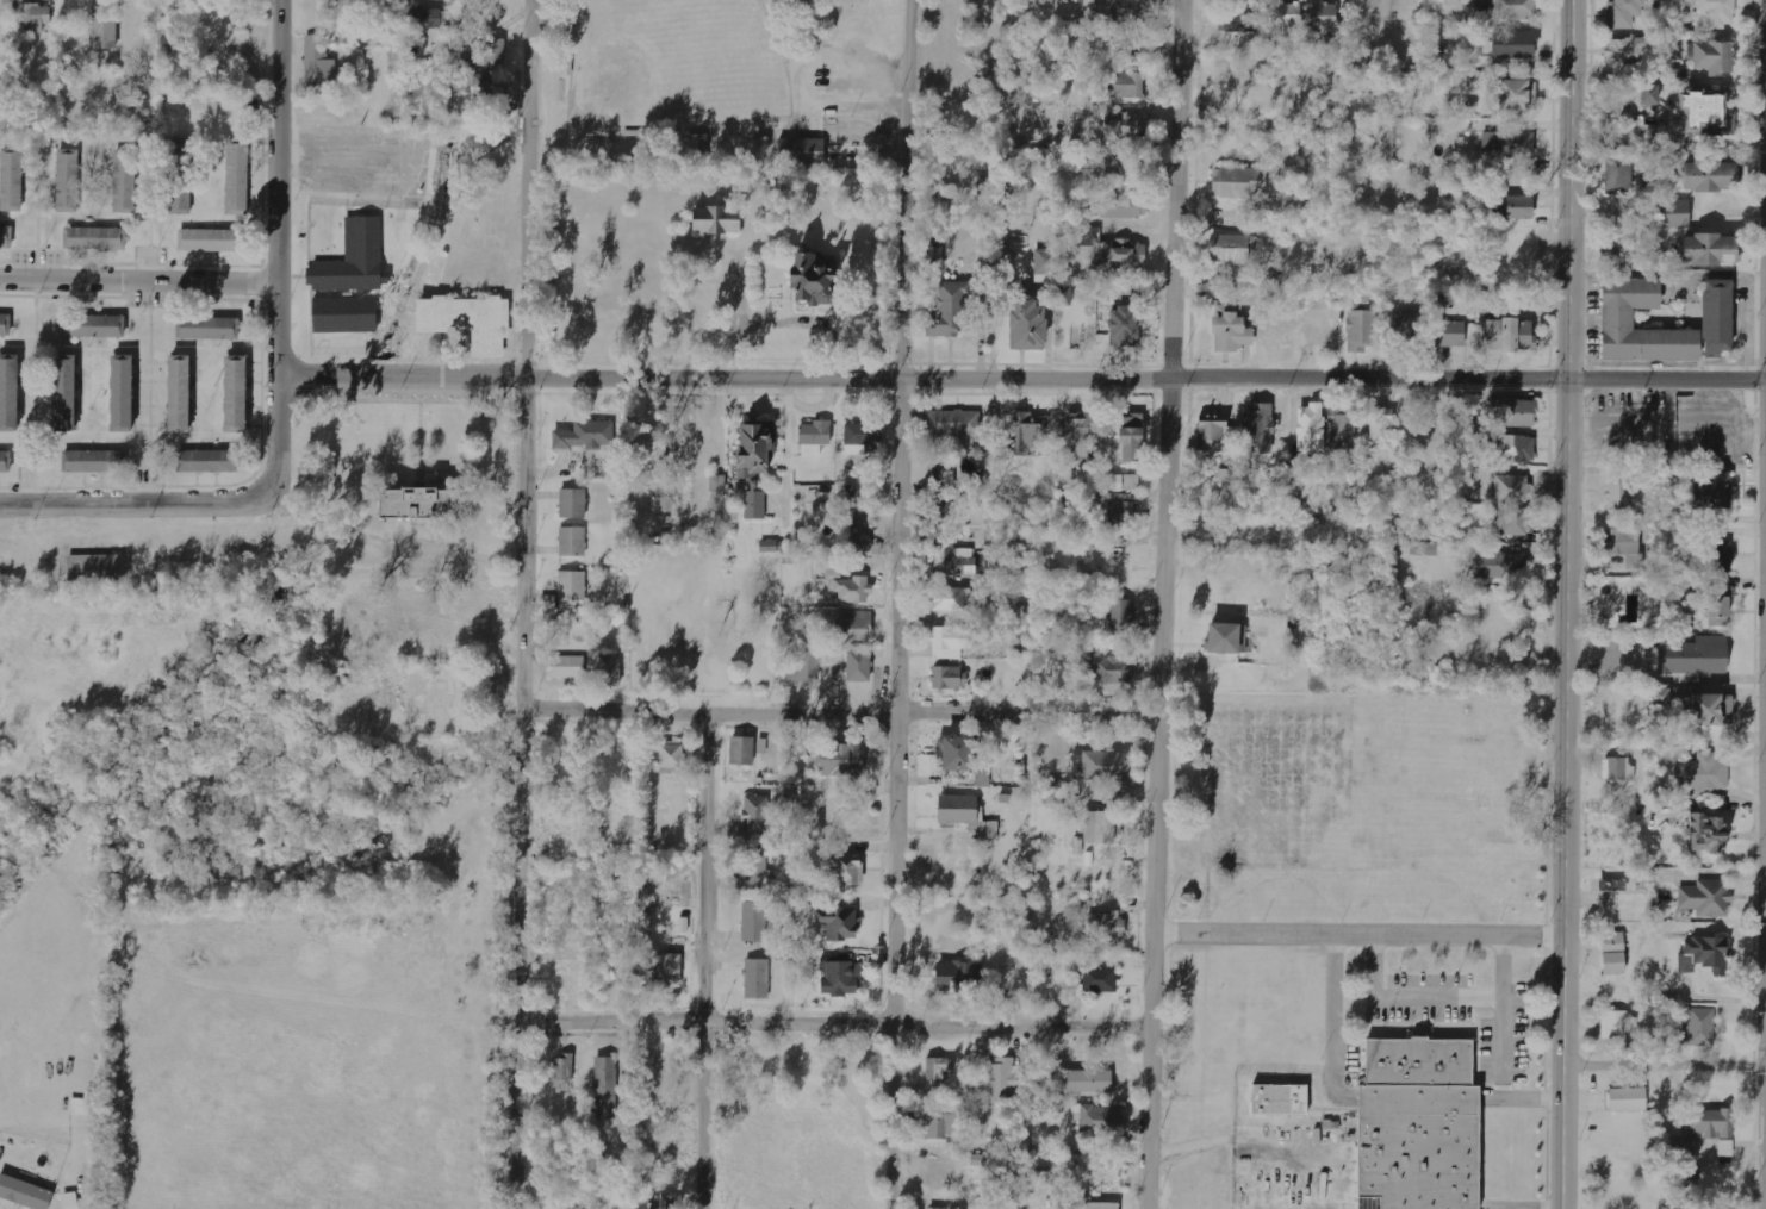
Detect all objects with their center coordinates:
building: (1515, 10)
building: (1130, 11)
building: (1718, 11)
building: (1623, 13)
building: (1324, 17)
building: (1474, 17)
building: (35, 18)
building: (1289, 19)
building: (423, 26)
building: (105, 27)
building: (1512, 44)
building: (1625, 50)
building: (495, 54)
building: (1714, 57)
building: (398, 60)
building: (319, 61)
park: (667, 66)
building: (1455, 79)
park: (722, 81)
building: (1430, 82)
building: (489, 85)
building: (1123, 85)
building: (1516, 94)
building: (1649, 94)
building: (1465, 107)
building: (1700, 108)
building: (1125, 125)
building: (698, 145)
building: (1507, 145)
building: (803, 150)
building: (975, 162)
building: (1115, 169)
building: (1709, 175)
building: (181, 176)
building: (1618, 176)
building: (237, 179)
building: (11, 180)
building: (67, 180)
building: (125, 181)
building: (1239, 182)
building: (1120, 206)
building: (1516, 207)
building: (1675, 213)
building: (714, 219)
building: (6, 237)
building: (95, 238)
building: (1618, 239)
building: (209, 241)
building: (1230, 248)
building: (1710, 249)
building: (1112, 250)
road: (278, 255)
building: (934, 256)
building: (354, 260)
building: (1044, 261)
building: (808, 279)
road: (138, 282)
building: (1064, 295)
building: (1246, 297)
building: (950, 311)
building: (344, 314)
building: (467, 320)
building: (1617, 322)
building: (5, 324)
building: (1026, 324)
building: (94, 325)
building: (1123, 326)
building: (209, 328)
building: (1230, 329)
building: (1361, 330)
building: (1409, 331)
building: (1449, 334)
building: (1509, 335)
road: (1022, 380)
building: (8, 392)
building: (63, 393)
building: (120, 393)
building: (178, 393)
building: (235, 394)
building: (1515, 412)
building: (952, 422)
building: (1258, 428)
building: (1310, 429)
building: (1342, 429)
building: (1381, 429)
building: (1028, 434)
building: (1211, 434)
building: (585, 436)
building: (860, 436)
building: (814, 437)
building: (1077, 437)
building: (1125, 438)
building: (753, 448)
building: (1511, 449)
building: (649, 450)
building: (91, 461)
building: (206, 461)
building: (5, 462)
building: (1224, 475)
building: (1123, 482)
building: (717, 484)
building: (1511, 488)
building: (1714, 488)
building: (944, 490)
building: (1619, 493)
building: (416, 500)
building: (572, 504)
building: (663, 504)
building: (754, 505)
road: (126, 506)
building: (1120, 509)
building: (1515, 522)
building: (862, 532)
building: (572, 541)
building: (771, 546)
building: (1624, 547)
building: (1424, 549)
building: (1718, 554)
building: (954, 561)
building: (1499, 563)
building: (95, 568)
building: (572, 586)
building: (852, 590)
building: (954, 599)
road: (521, 604)
road: (896, 604)
road: (1161, 604)
road: (1565, 604)
building: (1720, 606)
building: (1120, 615)
building: (853, 625)
building: (1225, 638)
building: (951, 642)
building: (1693, 656)
building: (809, 663)
building: (858, 666)
building: (565, 667)
building: (1109, 669)
building: (608, 671)
building: (949, 678)
building: (1710, 710)
road: (838, 711)
building: (741, 750)
building: (953, 753)
building: (671, 758)
building: (840, 760)
building: (1106, 766)
building: (1618, 769)
building: (1703, 773)
building: (758, 815)
building: (965, 817)
building: (1100, 828)
building: (1705, 833)
building: (840, 865)
building: (757, 870)
building: (1706, 898)
building: (1072, 909)
building: (755, 922)
building: (838, 923)
building: (1105, 926)
road: (1358, 930)
building: (1612, 953)
building: (1704, 955)
road: (705, 958)
building: (667, 972)
building: (839, 976)
building: (957, 976)
building: (757, 979)
building: (1094, 983)
road: (837, 1023)
building: (1615, 1024)
building: (1696, 1029)
building: (938, 1068)
road: (1664, 1068)
building: (562, 1072)
building: (1001, 1078)
building: (1087, 1082)
building: (605, 1088)
building: (1275, 1097)
building: (1628, 1099)
building: (1095, 1120)
building: (941, 1126)
building: (1413, 1126)
building: (1703, 1129)
building: (1725, 1148)
building: (941, 1174)
building: (1037, 1179)
building: (24, 1194)
building: (663, 1204)
building: (1092, 1204)
building: (941, 1208)

